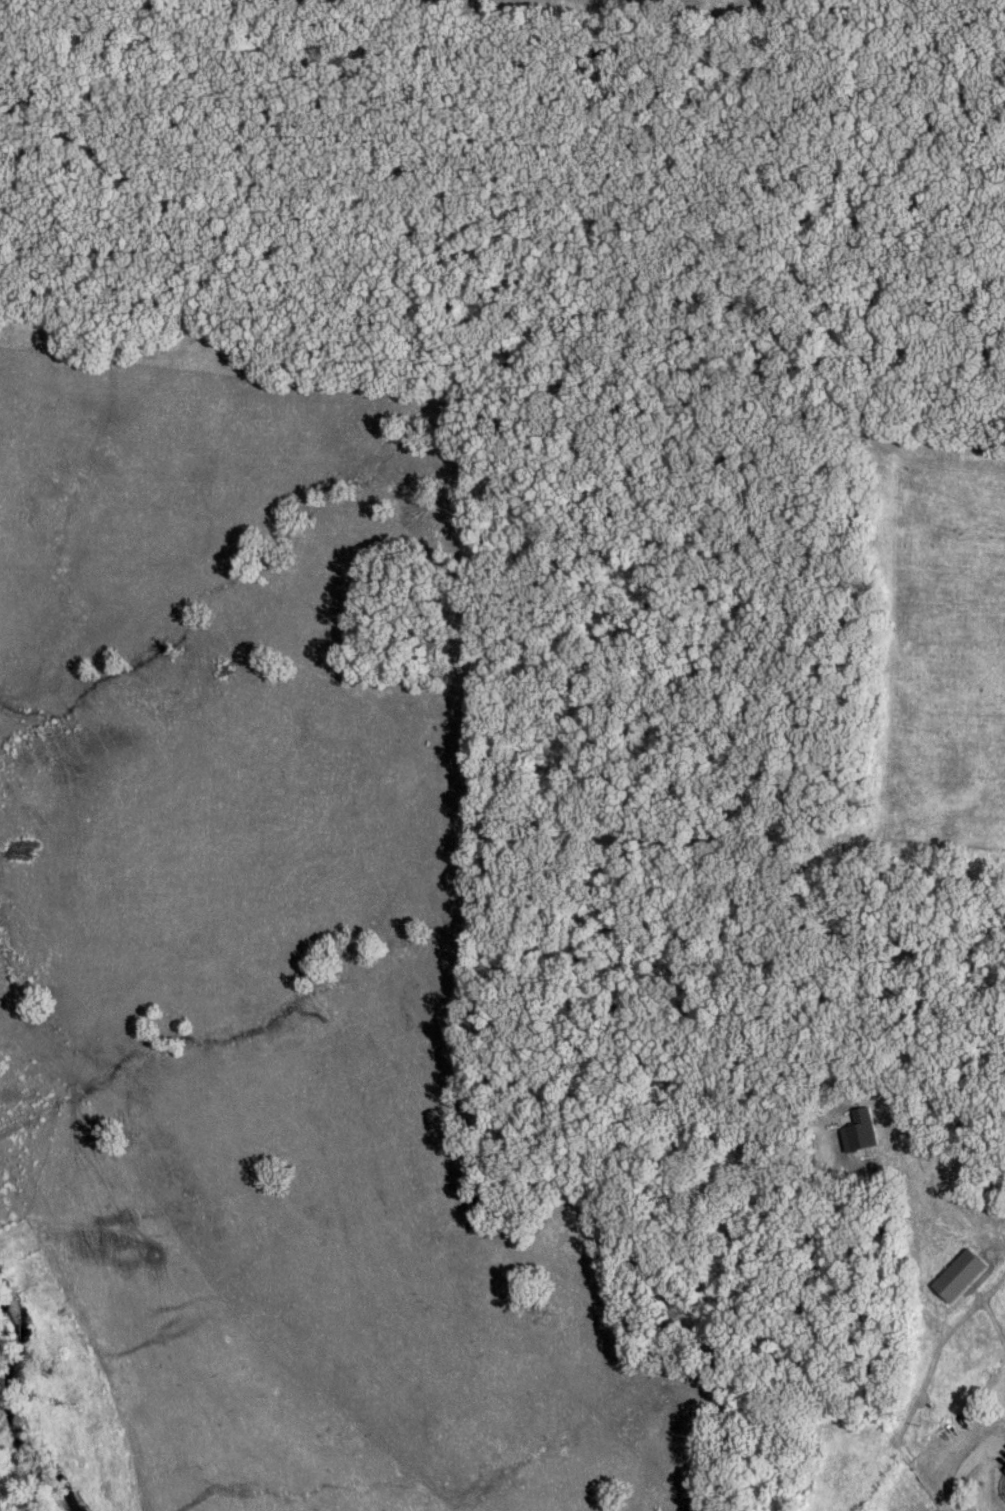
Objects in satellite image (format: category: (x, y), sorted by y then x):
road: (967, 1463)
building: (1004, 1470)

